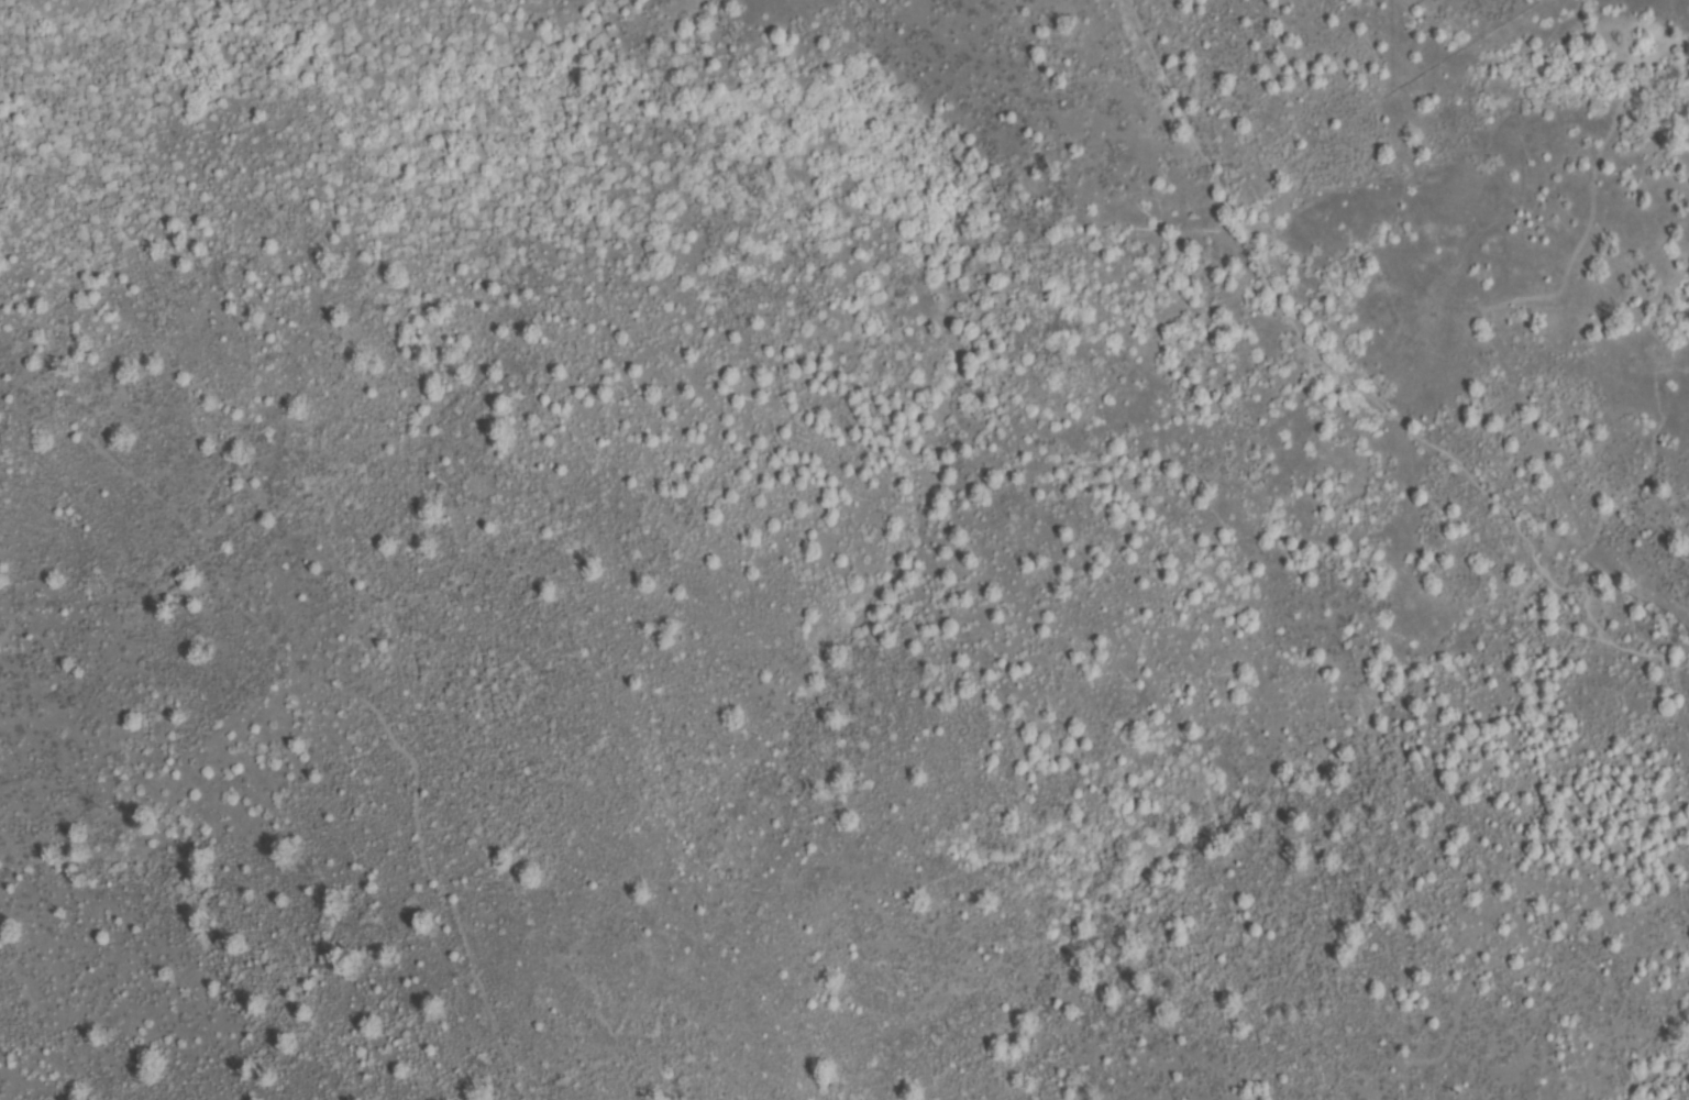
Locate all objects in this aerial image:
road: (1354, 389)

